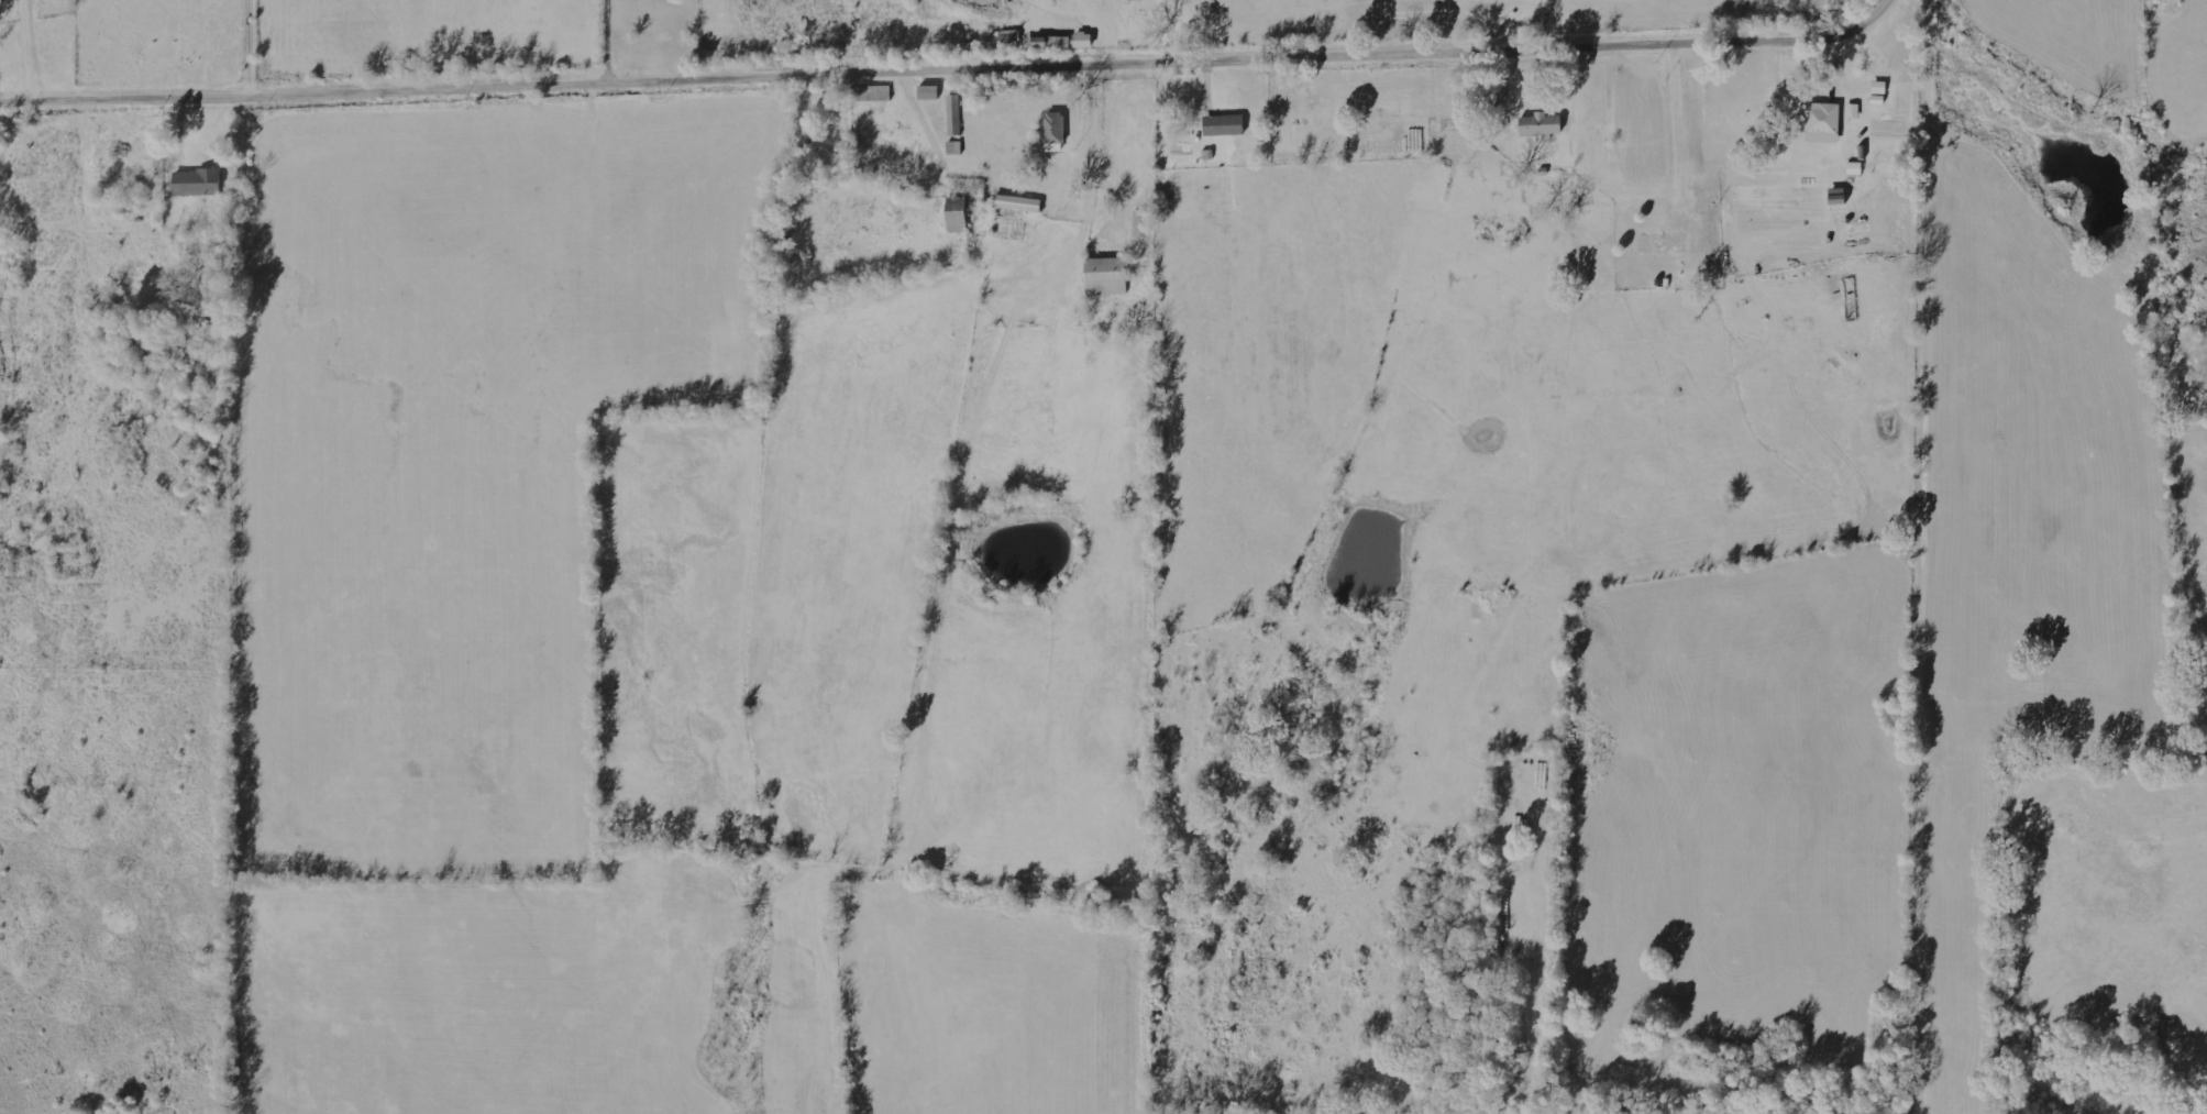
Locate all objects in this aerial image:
building: (1082, 40)
building: (1049, 42)
road: (253, 51)
road: (956, 71)
building: (954, 113)
building: (1822, 122)
building: (1538, 124)
building: (1222, 125)
building: (1053, 131)
building: (201, 181)
building: (1016, 202)
building: (957, 214)
building: (1140, 223)
building: (1104, 276)

